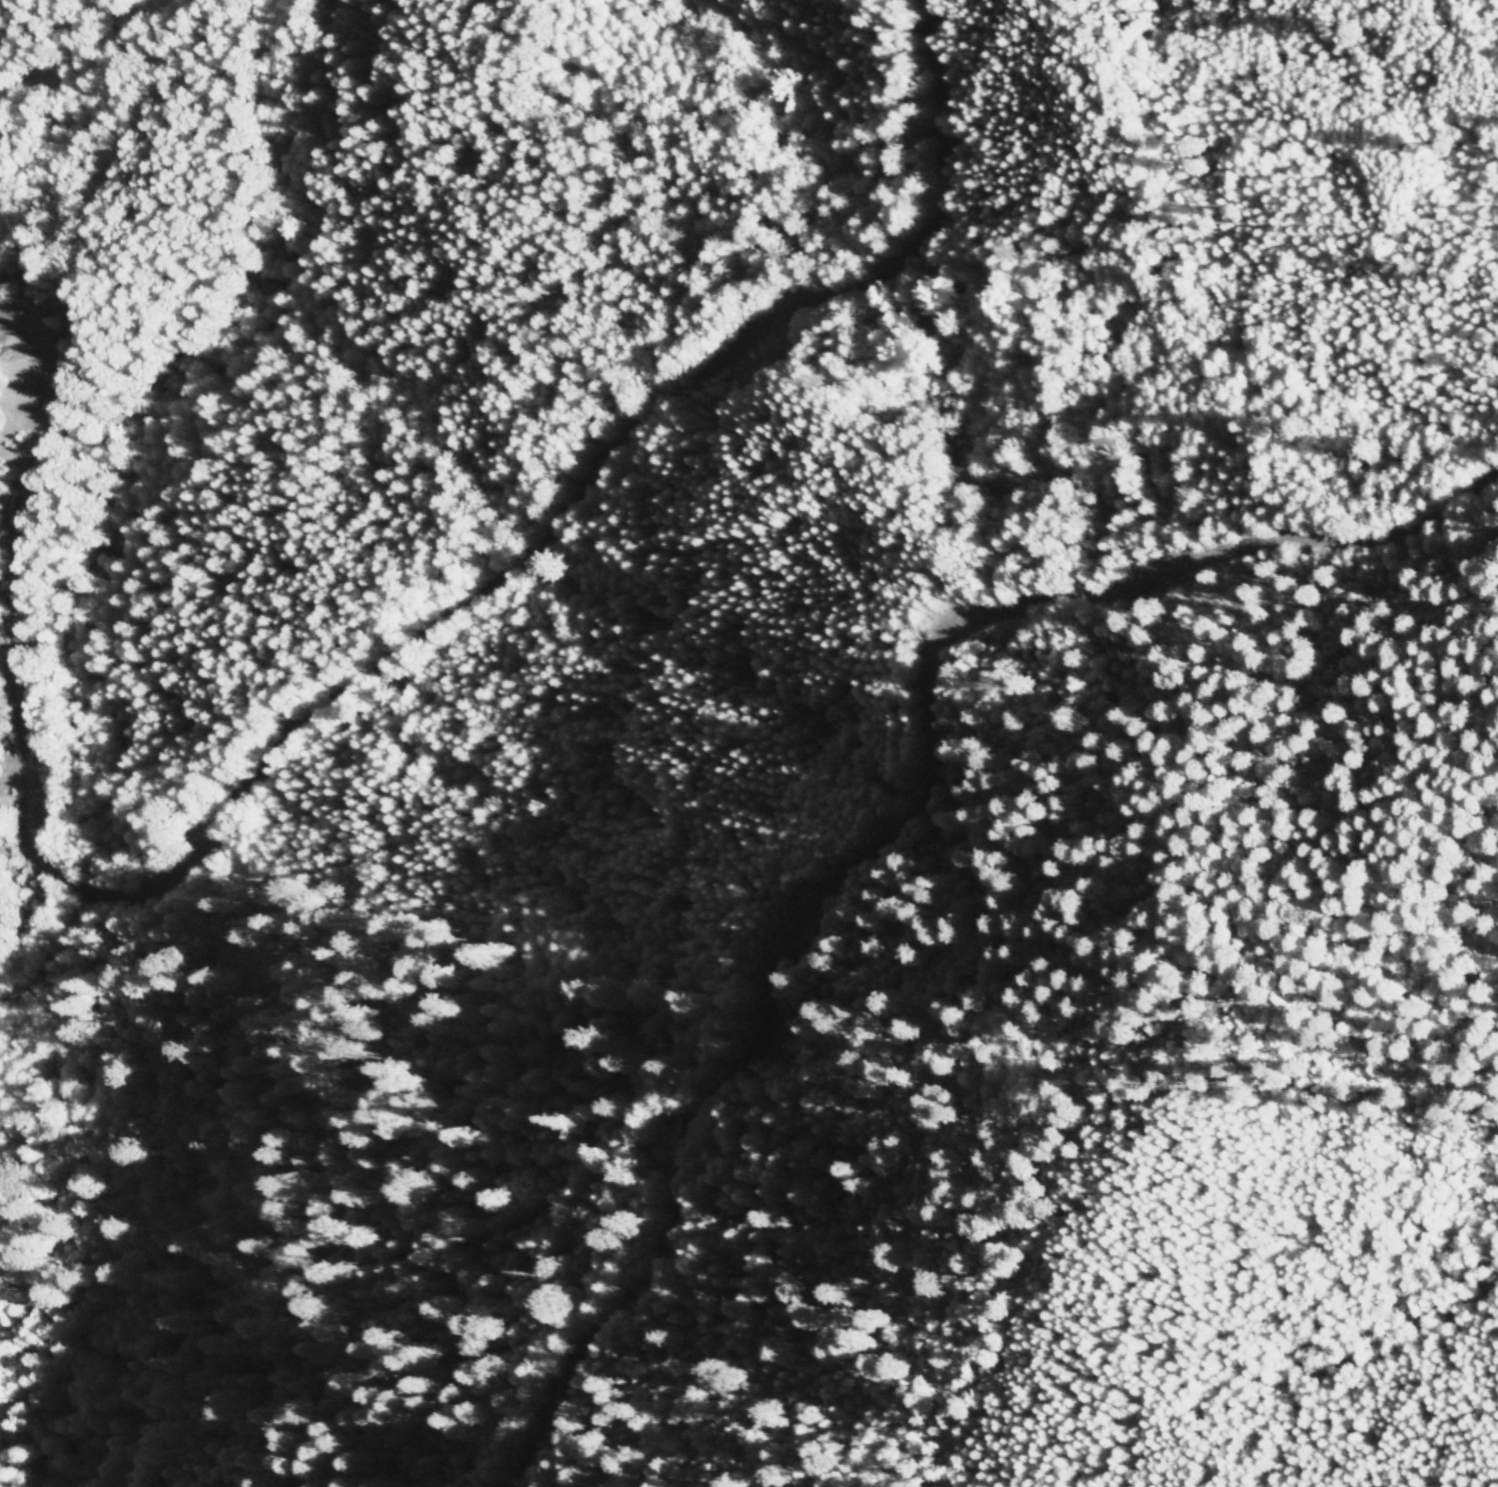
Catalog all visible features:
road: (516, 518)
road: (804, 755)
road: (176, 980)

